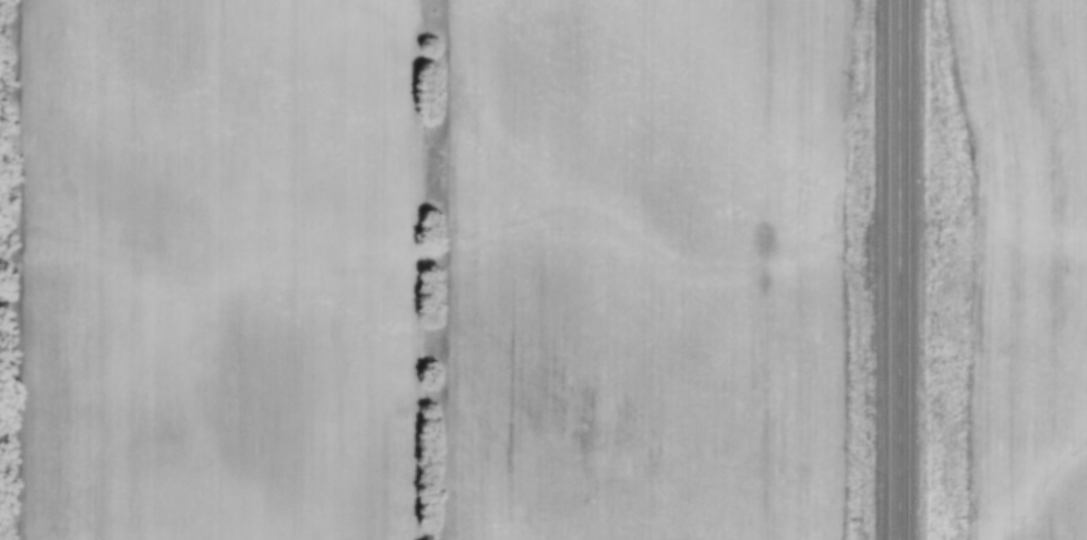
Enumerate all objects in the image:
road: (899, 269)

